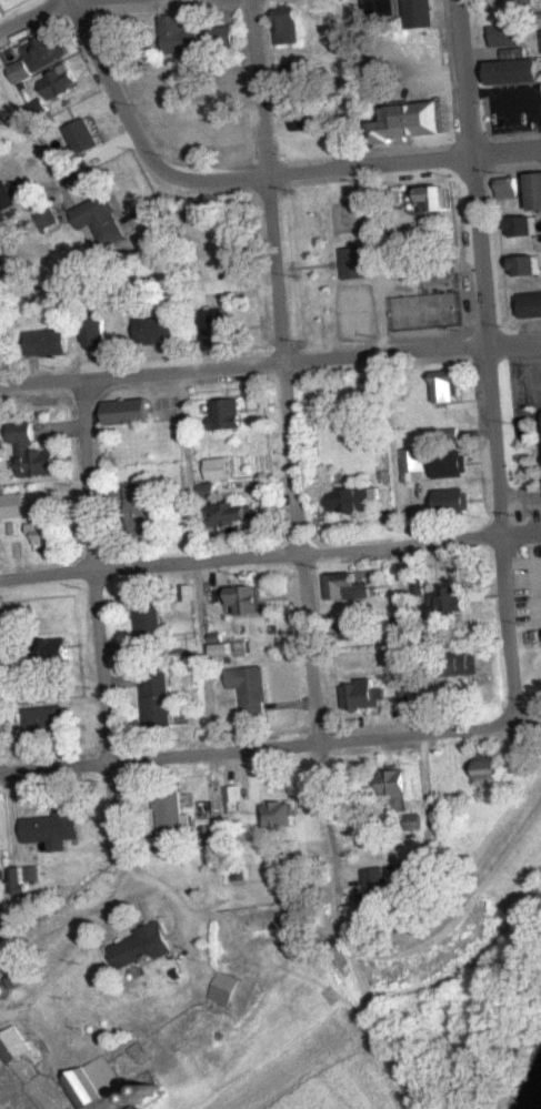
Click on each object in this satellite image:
building: (531, 6)
building: (388, 8)
building: (419, 11)
road: (33, 16)
building: (289, 26)
building: (508, 36)
building: (197, 38)
building: (47, 48)
building: (293, 69)
building: (21, 71)
building: (518, 72)
building: (59, 82)
building: (310, 119)
road: (27, 121)
building: (417, 123)
building: (83, 138)
building: (189, 143)
road: (251, 177)
building: (504, 185)
building: (532, 190)
building: (6, 198)
building: (438, 200)
building: (101, 220)
building: (519, 224)
park: (325, 264)
building: (350, 264)
building: (522, 264)
building: (443, 268)
building: (1, 271)
building: (441, 303)
building: (528, 303)
park: (423, 313)
park: (353, 316)
building: (216, 326)
building: (159, 329)
building: (94, 333)
building: (49, 343)
building: (2, 347)
road: (270, 366)
road: (385, 366)
road: (488, 366)
building: (451, 384)
building: (131, 411)
building: (229, 413)
building: (38, 451)
building: (414, 457)
road: (291, 458)
building: (453, 462)
building: (220, 467)
building: (211, 492)
building: (354, 498)
building: (458, 498)
building: (19, 504)
building: (146, 507)
building: (238, 512)
building: (50, 531)
road: (270, 555)
road: (199, 561)
building: (351, 585)
building: (451, 597)
building: (253, 598)
building: (353, 624)
road: (104, 625)
building: (156, 625)
building: (61, 648)
building: (401, 649)
building: (460, 662)
building: (0, 686)
building: (253, 686)
building: (405, 688)
building: (363, 693)
building: (163, 696)
road: (7, 697)
building: (52, 718)
road: (519, 737)
road: (249, 749)
building: (493, 762)
building: (400, 787)
building: (279, 813)
building: (180, 814)
building: (414, 820)
building: (59, 827)
building: (213, 835)
building: (375, 875)
building: (374, 904)
road: (68, 916)
building: (150, 945)
road: (74, 952)
building: (229, 987)
road: (46, 1026)
building: (18, 1045)
building: (97, 1082)
road: (46, 1088)
building: (137, 1106)

